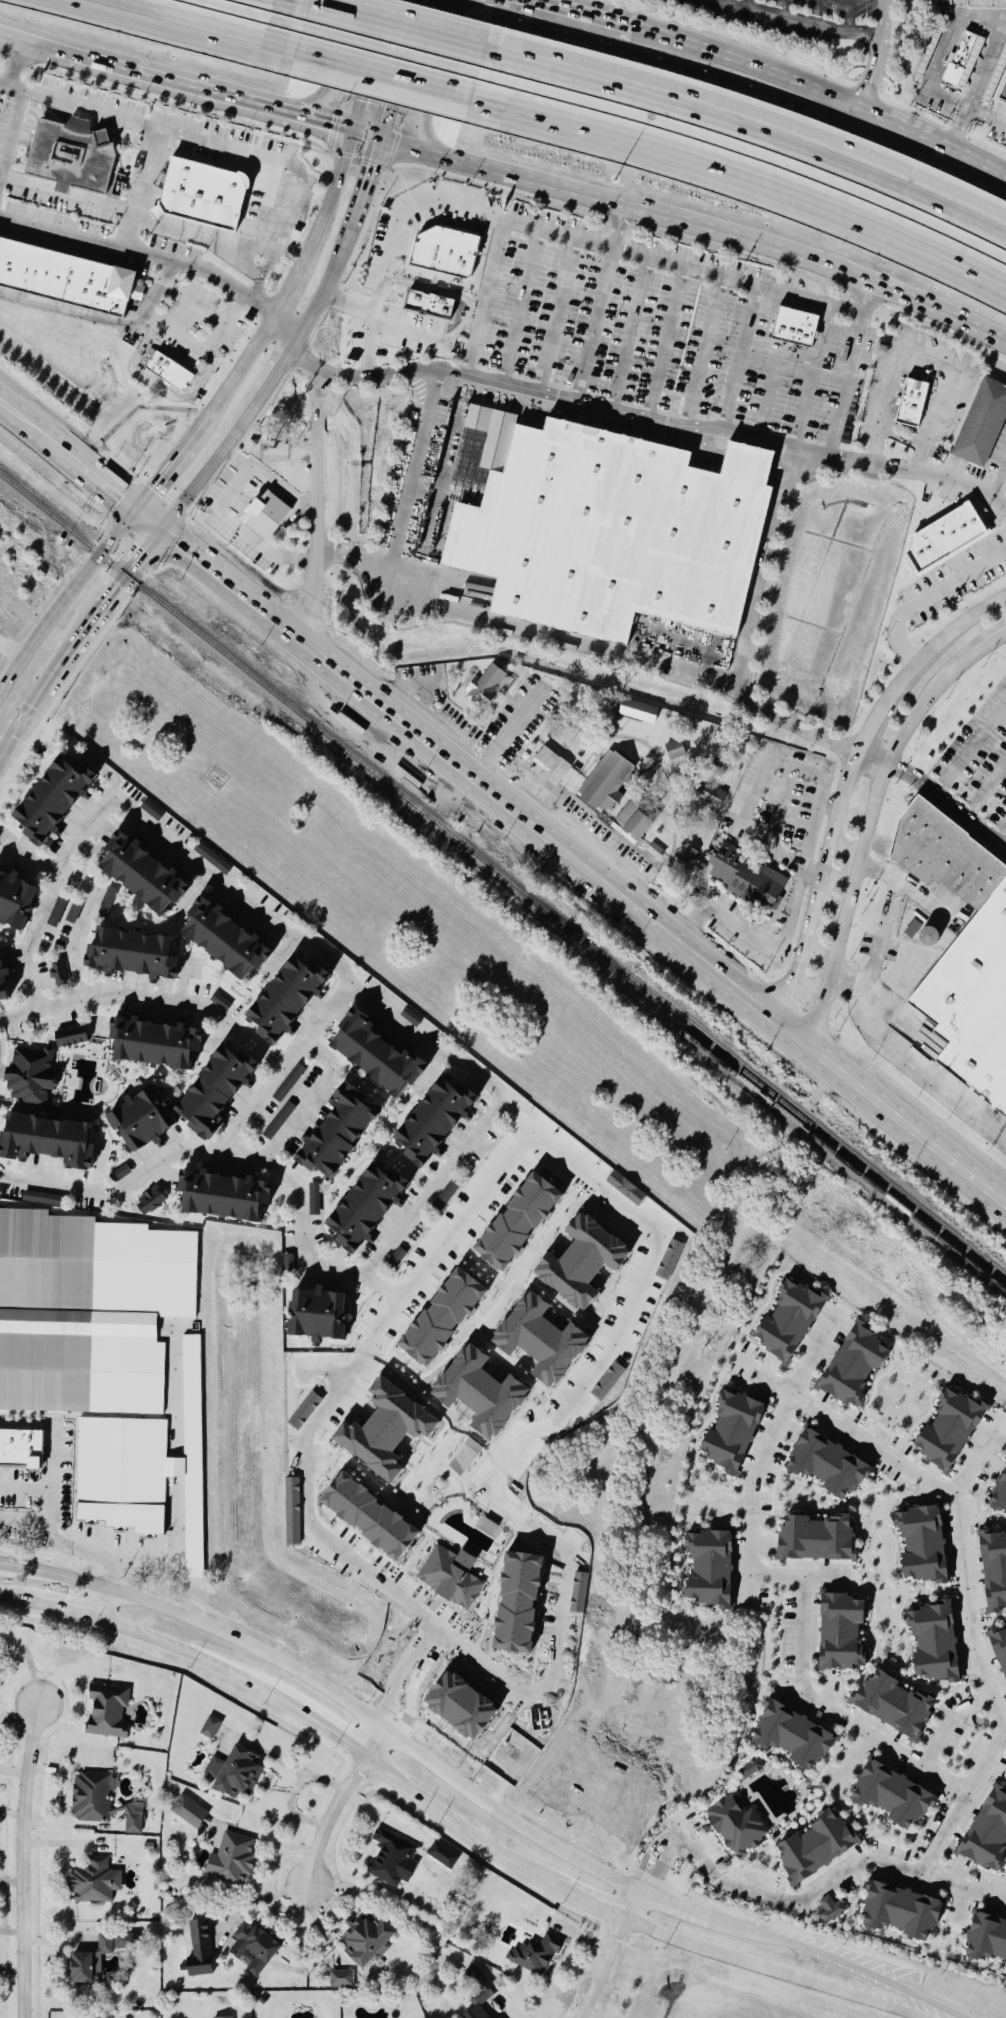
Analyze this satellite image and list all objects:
road: (555, 3)
road: (748, 3)
road: (962, 4)
road: (781, 7)
road: (962, 9)
road: (816, 11)
road: (602, 15)
road: (852, 16)
road: (884, 20)
road: (203, 21)
road: (393, 23)
road: (833, 27)
building: (928, 51)
building: (961, 61)
road: (20, 65)
road: (378, 67)
road: (369, 68)
road: (397, 72)
road: (131, 76)
road: (327, 76)
building: (994, 76)
road: (435, 81)
road: (824, 87)
building: (1003, 94)
traffic signals: (361, 100)
road: (970, 108)
road: (750, 123)
road: (307, 126)
traffic signals: (327, 131)
road: (12, 134)
road: (364, 140)
road: (214, 144)
building: (70, 157)
traffic signals: (371, 167)
road: (744, 170)
road: (141, 189)
building: (200, 194)
road: (363, 194)
road: (328, 199)
road: (262, 215)
road: (136, 218)
road: (698, 224)
road: (618, 226)
road: (393, 233)
building: (445, 252)
road: (141, 255)
road: (685, 265)
building: (64, 278)
road: (287, 286)
road: (322, 297)
road: (485, 297)
road: (519, 305)
building: (432, 306)
road: (557, 314)
road: (101, 316)
road: (594, 323)
building: (794, 327)
road: (283, 330)
road: (630, 332)
road: (666, 341)
road: (370, 344)
road: (203, 348)
road: (703, 350)
road: (803, 352)
road: (741, 355)
road: (927, 355)
road: (279, 369)
road: (794, 370)
road: (850, 370)
building: (165, 371)
road: (230, 381)
road: (767, 401)
building: (910, 403)
road: (805, 410)
road: (27, 420)
road: (666, 421)
building: (980, 423)
road: (215, 462)
road: (95, 475)
road: (160, 478)
road: (276, 483)
road: (998, 483)
road: (318, 486)
traffic signals: (152, 490)
traffic signals: (122, 497)
road: (402, 501)
building: (266, 515)
road: (151, 521)
road: (235, 527)
building: (613, 533)
building: (944, 538)
traffic signals: (178, 543)
traffic signals: (148, 554)
road: (765, 567)
road: (134, 572)
road: (228, 583)
road: (925, 596)
road: (66, 597)
road: (947, 636)
road: (997, 639)
road: (9, 655)
road: (66, 657)
road: (620, 658)
road: (404, 687)
building: (486, 688)
building: (638, 711)
road: (877, 713)
road: (13, 732)
road: (507, 736)
road: (970, 749)
building: (673, 751)
road: (875, 752)
park: (597, 757)
building: (716, 768)
building: (548, 771)
building: (603, 783)
road: (985, 789)
building: (703, 795)
building: (50, 800)
road: (750, 800)
road: (947, 802)
road: (837, 803)
road: (781, 813)
building: (634, 821)
building: (680, 823)
road: (865, 827)
road: (1000, 833)
building: (653, 855)
building: (688, 856)
building: (140, 875)
building: (745, 878)
railway: (504, 879)
road: (909, 885)
road: (90, 895)
building: (109, 898)
building: (14, 899)
building: (57, 911)
building: (73, 914)
road: (648, 919)
building: (913, 929)
building: (928, 936)
road: (782, 939)
building: (223, 941)
road: (801, 944)
building: (963, 950)
building: (130, 954)
building: (57, 972)
railway: (513, 975)
road: (885, 983)
building: (2, 986)
road: (876, 997)
building: (283, 1000)
road: (166, 1001)
road: (15, 1015)
road: (875, 1035)
building: (69, 1037)
building: (152, 1045)
building: (376, 1058)
road: (284, 1064)
building: (28, 1076)
road: (484, 1078)
building: (289, 1082)
building: (213, 1090)
road: (313, 1099)
railway: (774, 1107)
road: (512, 1112)
building: (286, 1113)
building: (140, 1121)
building: (431, 1121)
building: (336, 1133)
building: (46, 1141)
building: (221, 1197)
building: (47, 1199)
building: (314, 1199)
building: (148, 1201)
building: (366, 1208)
building: (519, 1221)
building: (88, 1311)
building: (315, 1315)
building: (443, 1317)
building: (789, 1321)
road: (678, 1333)
road: (817, 1351)
building: (854, 1365)
road: (764, 1374)
road: (557, 1410)
building: (949, 1430)
building: (732, 1431)
building: (21, 1449)
road: (51, 1451)
building: (827, 1464)
building: (144, 1467)
road: (306, 1483)
road: (25, 1488)
building: (1000, 1493)
road: (720, 1506)
building: (816, 1538)
building: (922, 1544)
road: (84, 1548)
building: (438, 1557)
building: (709, 1568)
building: (994, 1569)
road: (829, 1575)
road: (750, 1590)
road: (969, 1613)
road: (803, 1614)
building: (841, 1631)
building: (934, 1642)
building: (999, 1648)
road: (28, 1661)
building: (892, 1704)
building: (106, 1712)
road: (949, 1721)
building: (208, 1729)
building: (793, 1736)
road: (850, 1761)
road: (987, 1762)
building: (750, 1768)
building: (233, 1774)
building: (893, 1796)
building: (90, 1798)
road: (476, 1798)
building: (188, 1811)
road: (12, 1815)
road: (385, 1818)
road: (332, 1819)
road: (456, 1824)
building: (736, 1825)
building: (988, 1832)
road: (679, 1842)
building: (815, 1848)
building: (441, 1857)
building: (391, 1859)
road: (25, 1860)
building: (230, 1861)
building: (89, 1883)
road: (728, 1883)
road: (964, 1884)
road: (263, 1898)
building: (831, 1909)
building: (901, 1911)
building: (987, 1939)
building: (363, 1940)
building: (102, 1945)
building: (254, 1947)
building: (199, 1951)
building: (534, 1954)
road: (611, 1954)
building: (80, 1968)
building: (341, 1979)
building: (479, 1986)
building: (483, 2016)
building: (487, 2016)

